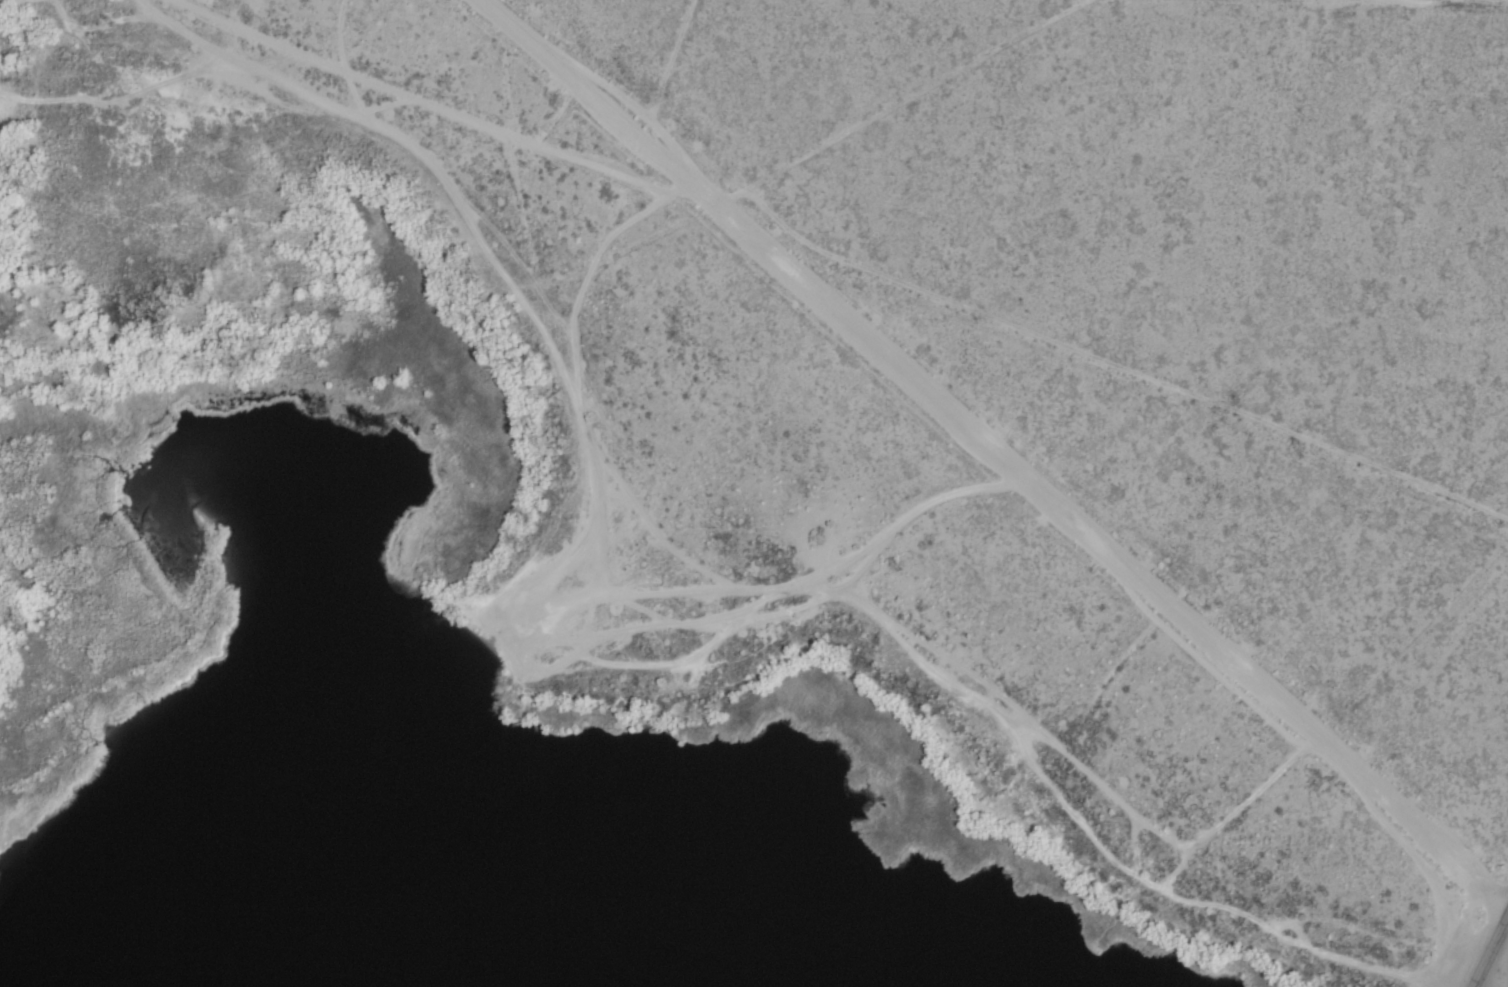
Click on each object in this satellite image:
road: (999, 454)
road: (1490, 956)

